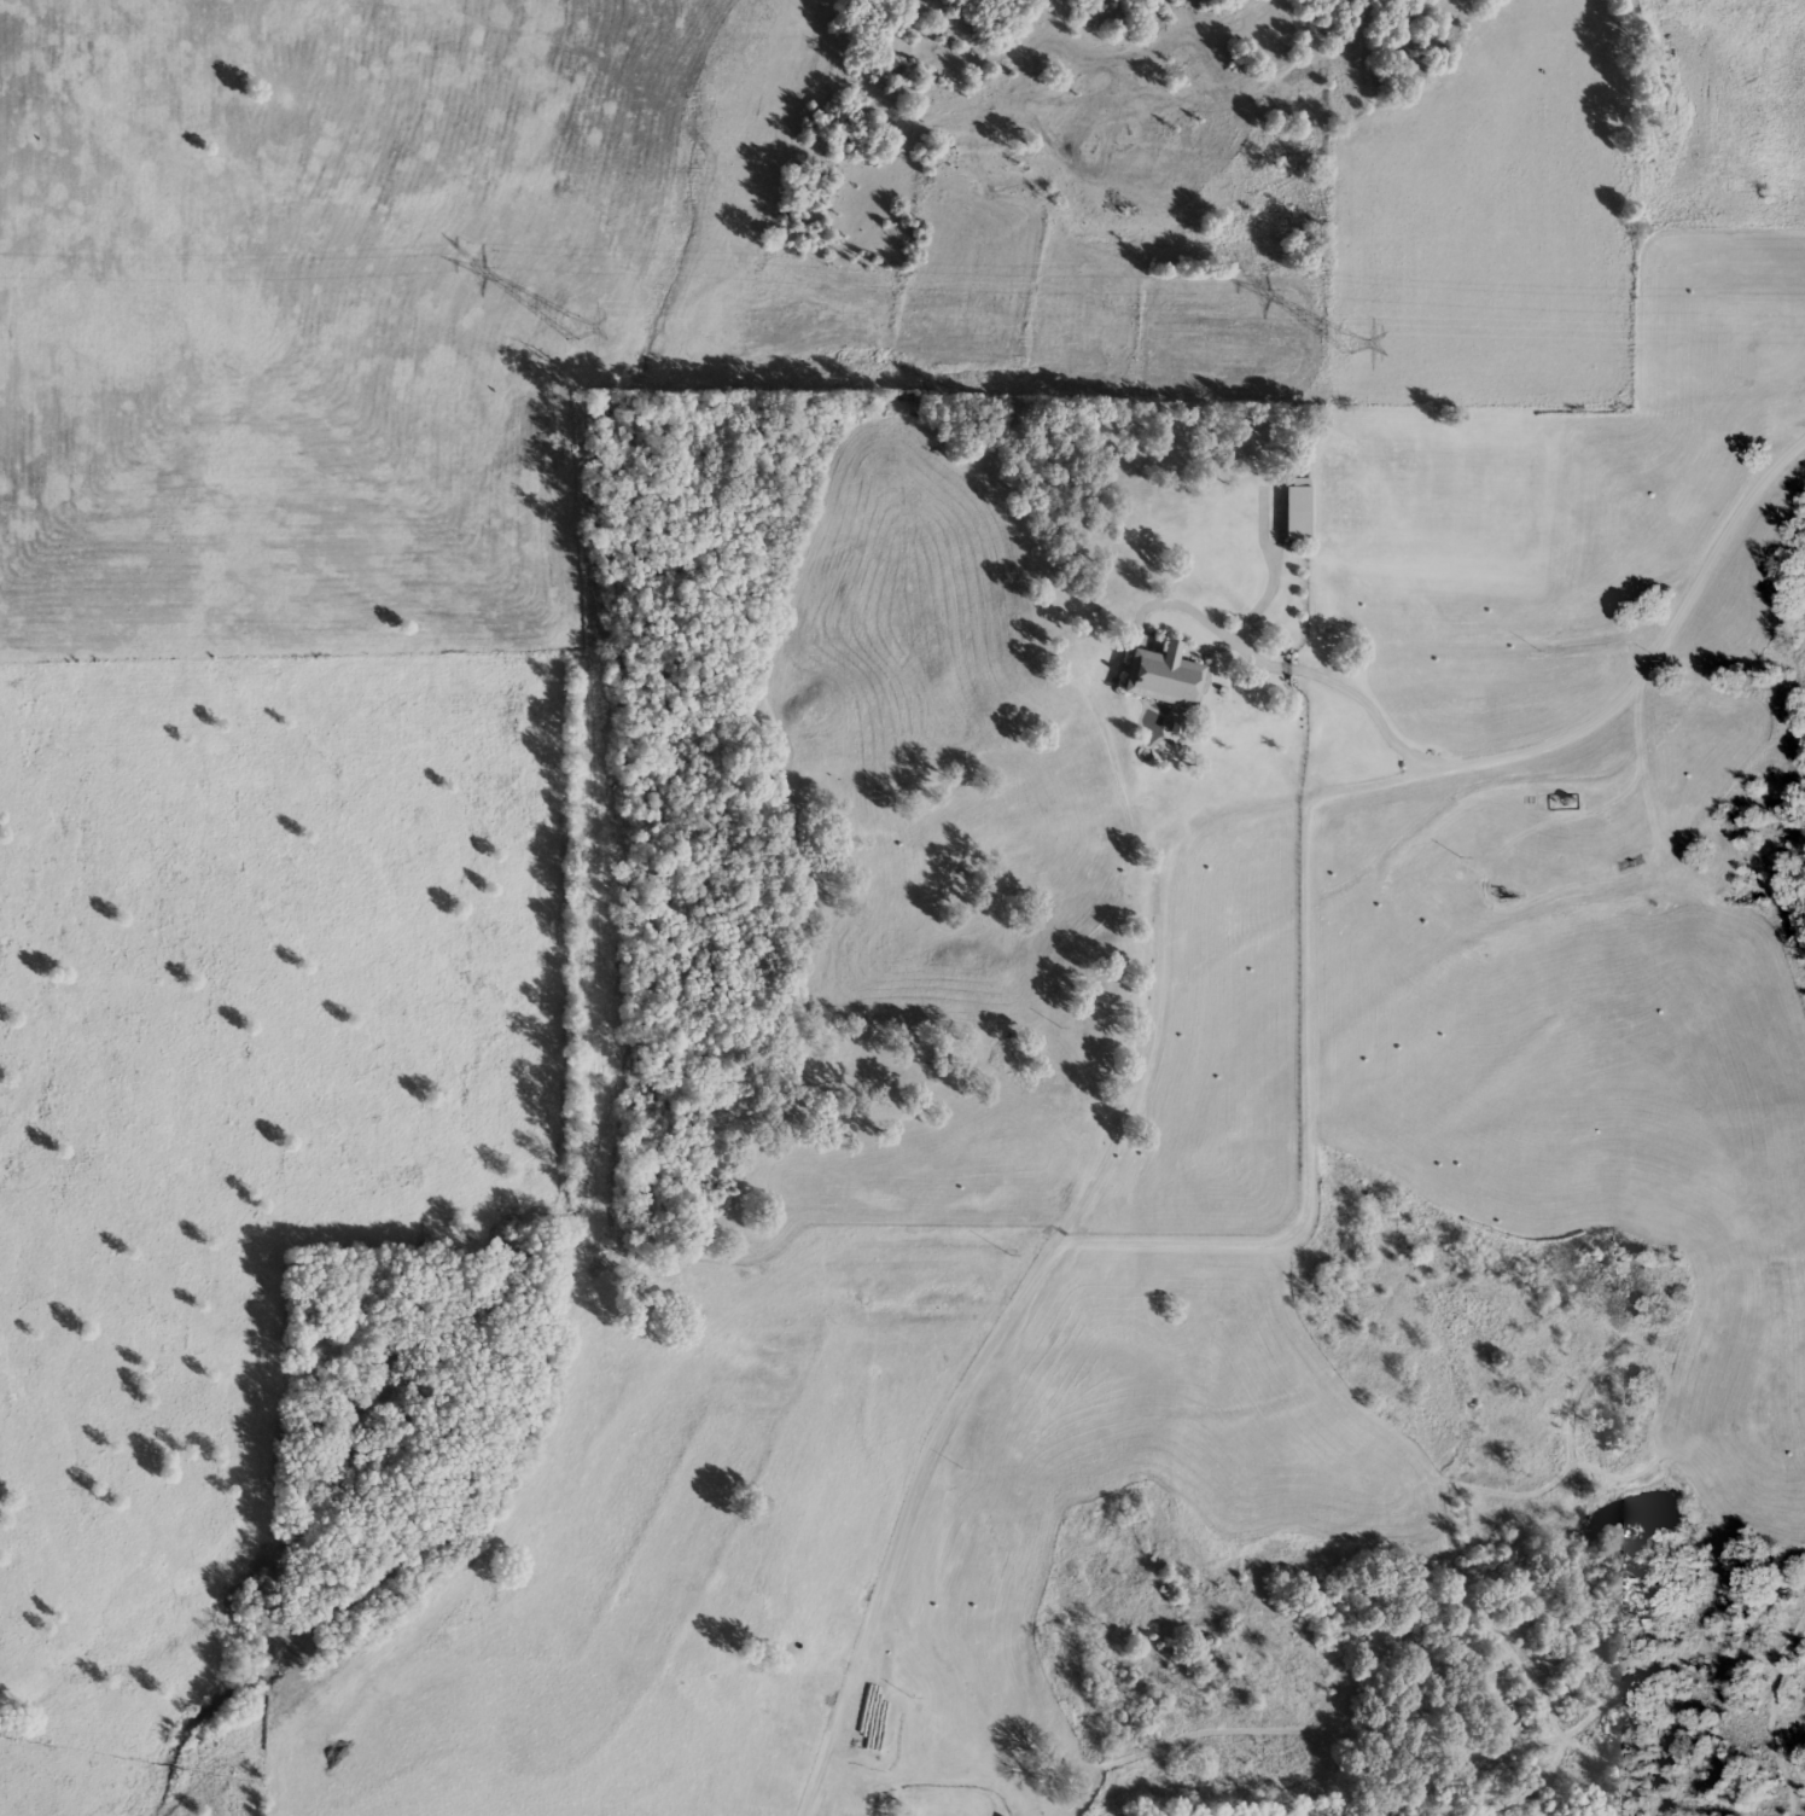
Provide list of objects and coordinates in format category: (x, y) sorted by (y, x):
power tower: (573, 325)
power tower: (1344, 342)
building: (1293, 508)
road: (1275, 580)
road: (1340, 687)
road: (1157, 989)
road: (1306, 1127)

